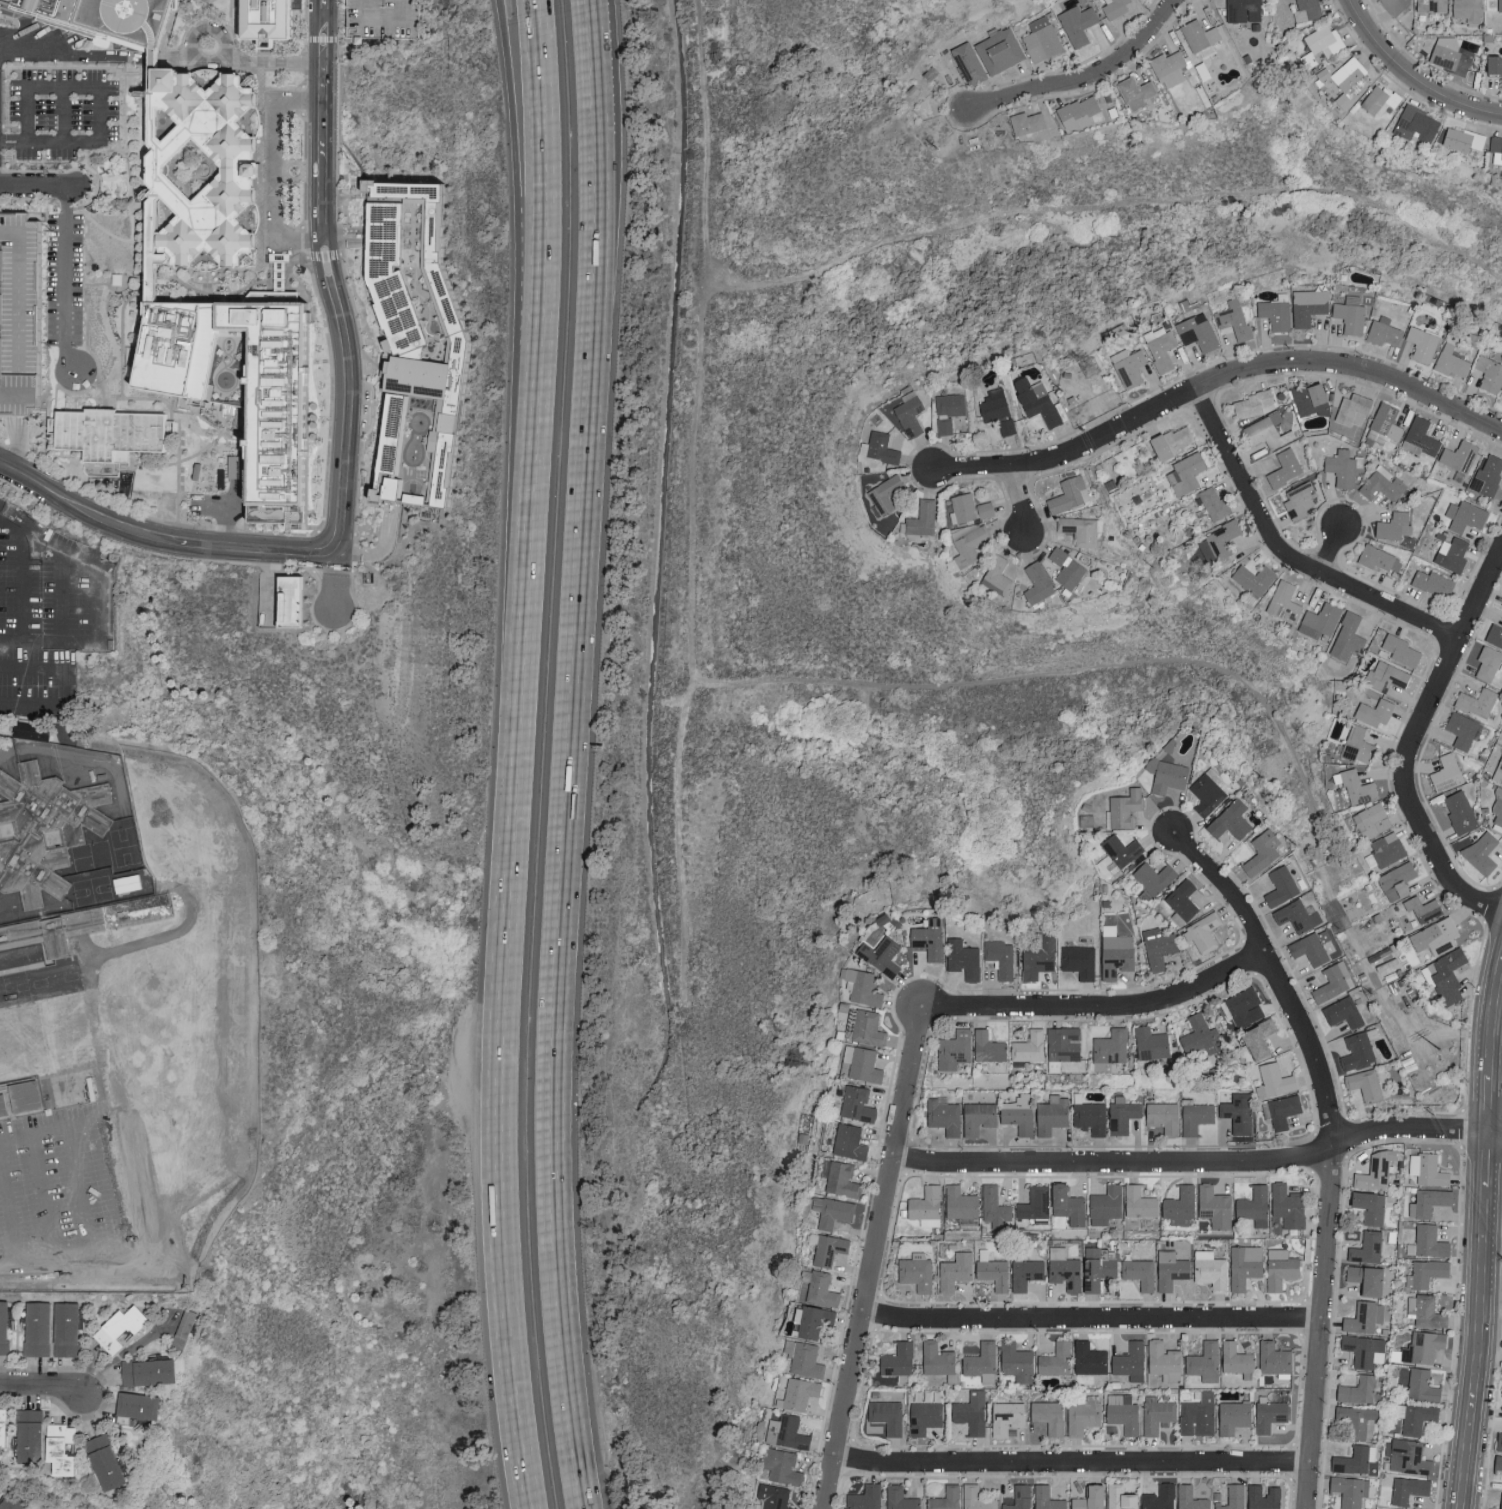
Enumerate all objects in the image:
building: (1394, 5)
building: (1429, 5)
building: (1498, 5)
helipad: (126, 8)
building: (1113, 8)
building: (1241, 10)
building: (1304, 10)
building: (1466, 11)
parking lot: (386, 18)
road: (347, 19)
building: (373, 19)
building: (266, 20)
road: (327, 20)
road: (389, 22)
building: (1076, 24)
building: (1198, 35)
building: (1040, 39)
building: (1321, 39)
parking lot: (54, 43)
building: (1005, 48)
road: (73, 53)
road: (152, 59)
road: (240, 63)
road: (594, 67)
building: (1492, 67)
building: (1168, 68)
road: (1411, 76)
road: (1082, 78)
building: (1348, 81)
road: (101, 86)
building: (1134, 92)
building: (1378, 100)
building: (1075, 113)
road: (65, 114)
building: (1023, 122)
building: (1414, 125)
building: (192, 130)
building: (1460, 139)
road: (321, 140)
road: (13, 142)
building: (1495, 151)
road: (520, 164)
road: (274, 172)
road: (38, 192)
road: (341, 240)
parking lot: (65, 279)
road: (65, 288)
building: (1307, 305)
building: (23, 312)
parking lot: (19, 314)
building: (1274, 314)
building: (1349, 315)
building: (1232, 320)
building: (1196, 332)
building: (1382, 332)
building: (1419, 344)
road: (343, 345)
building: (435, 346)
building: (1158, 348)
building: (1448, 362)
building: (1126, 366)
power tower: (1091, 369)
building: (1488, 374)
road: (1217, 383)
building: (1308, 400)
building: (1250, 405)
building: (1351, 409)
building: (946, 411)
building: (997, 412)
building: (906, 414)
building: (1385, 422)
building: (1264, 432)
building: (111, 434)
building: (1420, 437)
building: (296, 442)
building: (1168, 443)
road: (20, 444)
building: (879, 448)
building: (1458, 456)
building: (1184, 473)
building: (1485, 480)
building: (1381, 484)
road: (342, 488)
road: (52, 490)
building: (1067, 495)
building: (1297, 501)
road: (1021, 502)
building: (1211, 502)
building: (881, 503)
road: (214, 509)
building: (965, 509)
building: (1463, 516)
road: (225, 517)
building: (921, 519)
building: (1391, 526)
building: (1080, 530)
road: (29, 534)
road: (336, 538)
road: (388, 541)
building: (1216, 542)
building: (964, 544)
road: (217, 547)
road: (1332, 551)
road: (346, 553)
building: (1450, 555)
road: (1286, 556)
building: (1376, 559)
road: (335, 562)
building: (1065, 569)
building: (998, 577)
building: (1250, 579)
building: (1035, 583)
building: (1431, 583)
road: (336, 591)
building: (298, 599)
road: (27, 601)
building: (1282, 603)
building: (1501, 607)
building: (1318, 622)
building: (1496, 637)
building: (1345, 638)
road: (91, 643)
building: (1398, 650)
building: (1486, 663)
road: (37, 666)
building: (1383, 677)
building: (1474, 702)
road: (35, 705)
building: (1372, 712)
building: (40, 729)
building: (1459, 730)
road: (1410, 738)
building: (1355, 746)
road: (515, 754)
building: (1496, 769)
building: (1444, 773)
building: (1164, 775)
building: (1353, 787)
building: (1206, 792)
building: (1124, 807)
building: (1496, 809)
building: (1458, 812)
building: (1228, 820)
building: (1369, 821)
road: (573, 822)
building: (44, 829)
building: (1383, 850)
building: (1259, 852)
building: (1116, 854)
building: (1480, 854)
building: (1152, 876)
building: (1394, 880)
building: (1279, 885)
building: (1420, 908)
building: (1296, 915)
building: (26, 929)
building: (1200, 931)
building: (1433, 936)
building: (926, 938)
building: (1156, 947)
building: (1307, 948)
building: (1113, 952)
building: (879, 955)
building: (1038, 956)
building: (1000, 957)
building: (962, 958)
building: (1078, 961)
building: (1443, 976)
building: (1328, 983)
building: (861, 987)
road: (1098, 1006)
building: (1241, 1006)
building: (1341, 1012)
building: (862, 1027)
building: (1196, 1035)
building: (1254, 1037)
building: (1148, 1043)
building: (1027, 1046)
building: (1060, 1046)
building: (986, 1047)
building: (1108, 1048)
building: (952, 1049)
building: (1355, 1051)
power tower: (1443, 1051)
building: (861, 1063)
building: (1271, 1080)
road: (909, 1082)
road: (468, 1084)
building: (1363, 1084)
building: (27, 1096)
building: (854, 1103)
building: (4, 1106)
building: (1280, 1111)
building: (1236, 1112)
building: (1120, 1114)
building: (941, 1115)
building: (1048, 1115)
building: (1086, 1115)
building: (1161, 1116)
building: (974, 1117)
building: (1193, 1117)
building: (1015, 1118)
road: (430, 1130)
building: (847, 1142)
road: (1330, 1147)
road: (1201, 1163)
building: (1426, 1169)
building: (1375, 1171)
building: (839, 1179)
road: (82, 1195)
road: (121, 1195)
road: (426, 1196)
road: (45, 1198)
building: (958, 1202)
building: (1137, 1202)
building: (1427, 1202)
building: (1033, 1203)
building: (1065, 1204)
building: (1178, 1204)
building: (1104, 1205)
building: (1285, 1205)
building: (1368, 1205)
building: (924, 1206)
building: (1212, 1206)
building: (1252, 1206)
building: (993, 1207)
road: (10, 1209)
building: (832, 1213)
road: (1481, 1235)
building: (1425, 1242)
road: (1491, 1244)
building: (1364, 1247)
building: (828, 1249)
building: (1241, 1265)
road: (10, 1266)
building: (1277, 1268)
building: (1167, 1269)
building: (989, 1270)
building: (1208, 1270)
building: (913, 1271)
building: (952, 1271)
building: (1062, 1273)
building: (1137, 1273)
building: (1424, 1273)
building: (1023, 1274)
building: (1362, 1279)
building: (816, 1288)
building: (1424, 1312)
building: (1362, 1318)
building: (809, 1320)
road: (1090, 1323)
building: (5, 1327)
building: (122, 1328)
building: (39, 1329)
building: (68, 1329)
building: (186, 1329)
road: (858, 1333)
building: (1421, 1347)
building: (1363, 1350)
building: (933, 1358)
building: (1086, 1358)
building: (1233, 1358)
building: (1271, 1358)
building: (800, 1359)
building: (895, 1359)
building: (1053, 1360)
building: (1160, 1360)
building: (1013, 1361)
building: (1127, 1361)
building: (979, 1362)
building: (1202, 1362)
road: (371, 1367)
building: (152, 1372)
building: (1419, 1385)
road: (43, 1388)
building: (1355, 1390)
building: (1500, 1390)
building: (795, 1392)
building: (143, 1405)
building: (969, 1412)
building: (1121, 1412)
building: (1197, 1414)
building: (1267, 1414)
building: (1045, 1415)
building: (1155, 1415)
building: (886, 1416)
building: (1231, 1416)
building: (921, 1417)
building: (1004, 1417)
building: (1080, 1417)
building: (1414, 1418)
building: (1355, 1420)
building: (5, 1431)
building: (783, 1432)
building: (35, 1435)
building: (1498, 1441)
building: (66, 1448)
building: (1407, 1457)
building: (1352, 1459)
building: (111, 1461)
road: (857, 1462)
building: (1497, 1462)
road: (1095, 1465)
building: (777, 1467)
building: (1406, 1489)
building: (1347, 1491)
building: (768, 1497)
building: (1017, 1497)
building: (1117, 1497)
building: (1157, 1497)
building: (1231, 1497)
building: (1260, 1497)
building: (864, 1498)
building: (899, 1498)
building: (973, 1498)
building: (1044, 1498)
building: (1085, 1498)
building: (1187, 1498)
building: (942, 1499)
building: (1500, 1501)
building: (14, 1502)
building: (1488, 1508)

